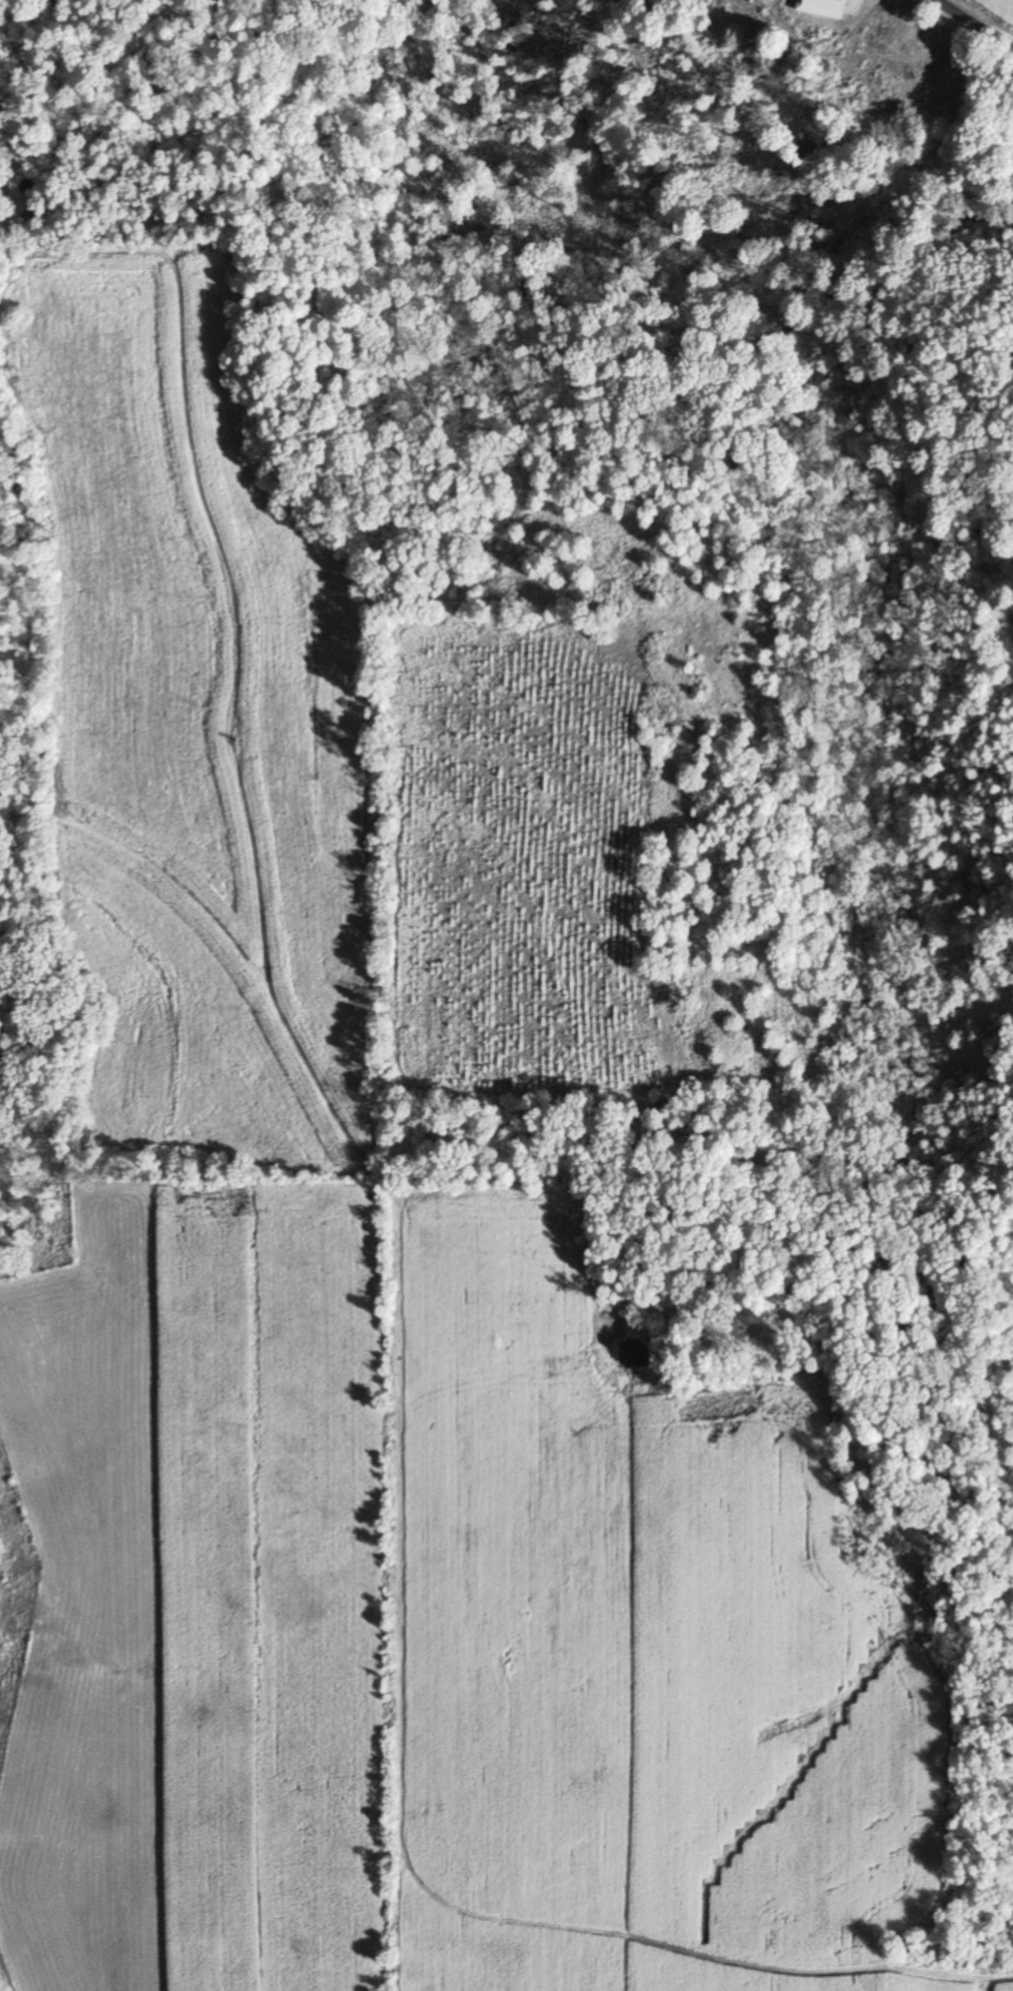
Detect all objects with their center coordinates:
road: (978, 23)

